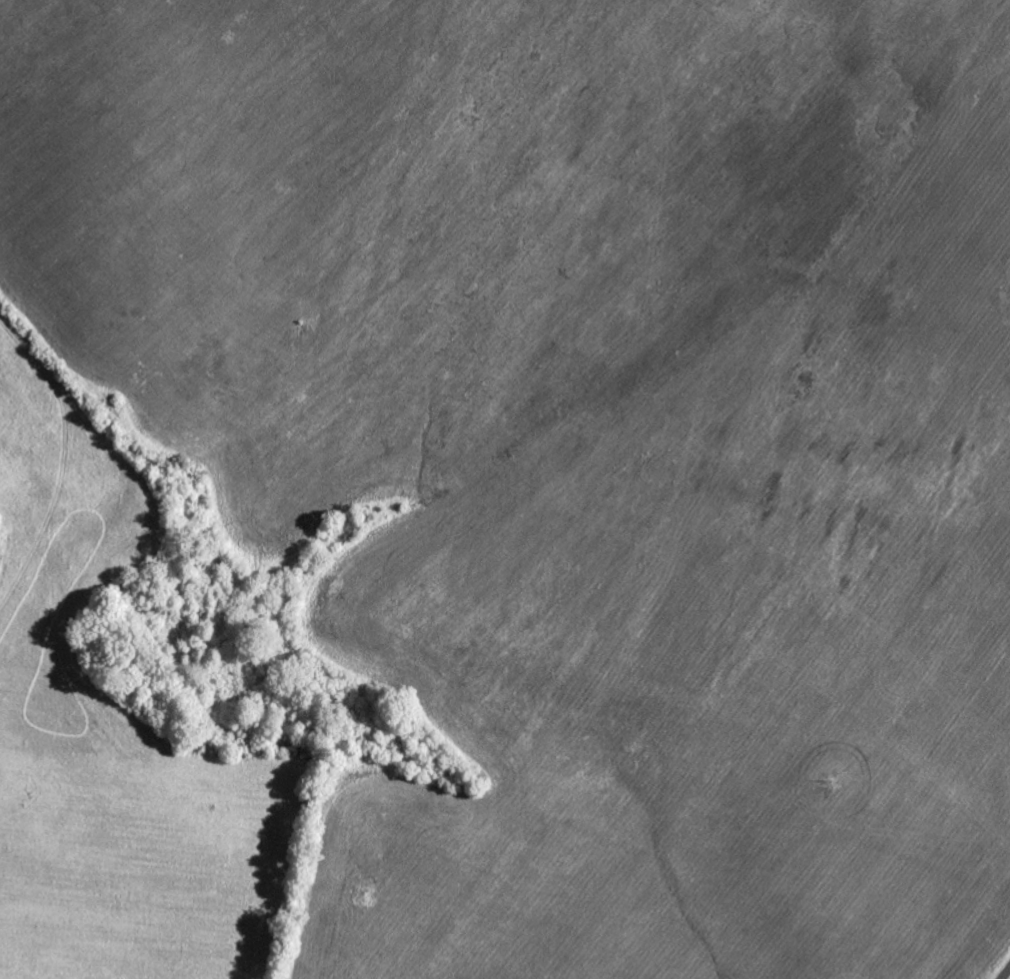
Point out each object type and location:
road: (1006, 973)

